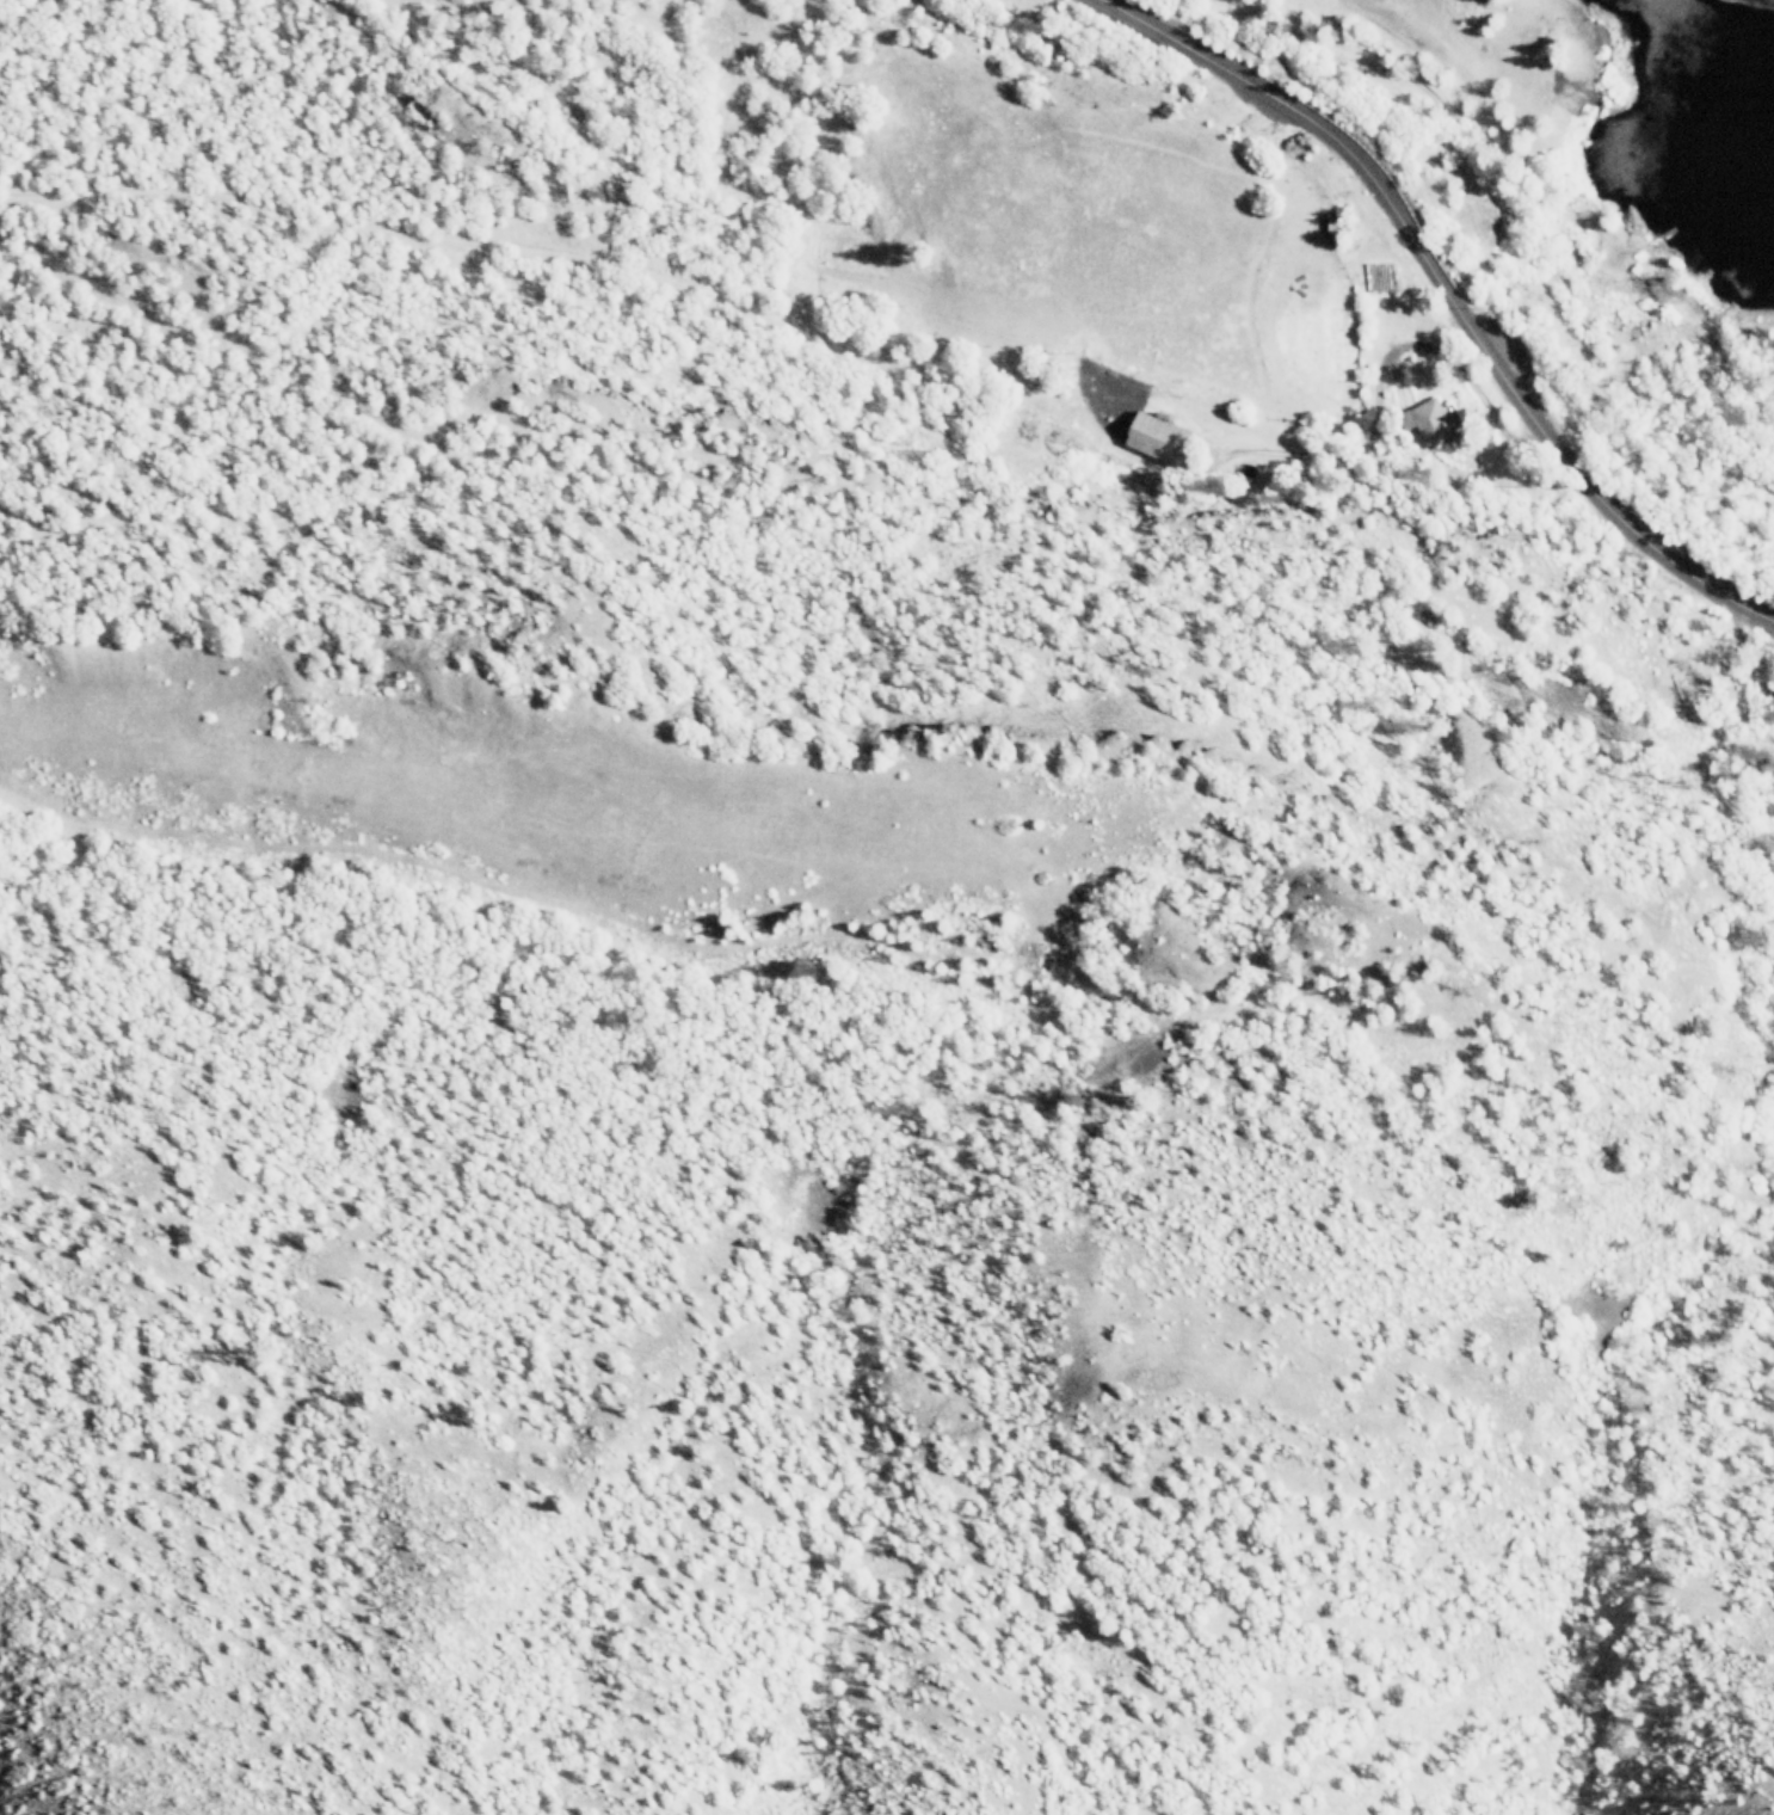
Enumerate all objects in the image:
road: (1453, 296)
road: (1487, 406)
building: (1429, 424)
building: (1158, 441)
road: (1299, 455)

